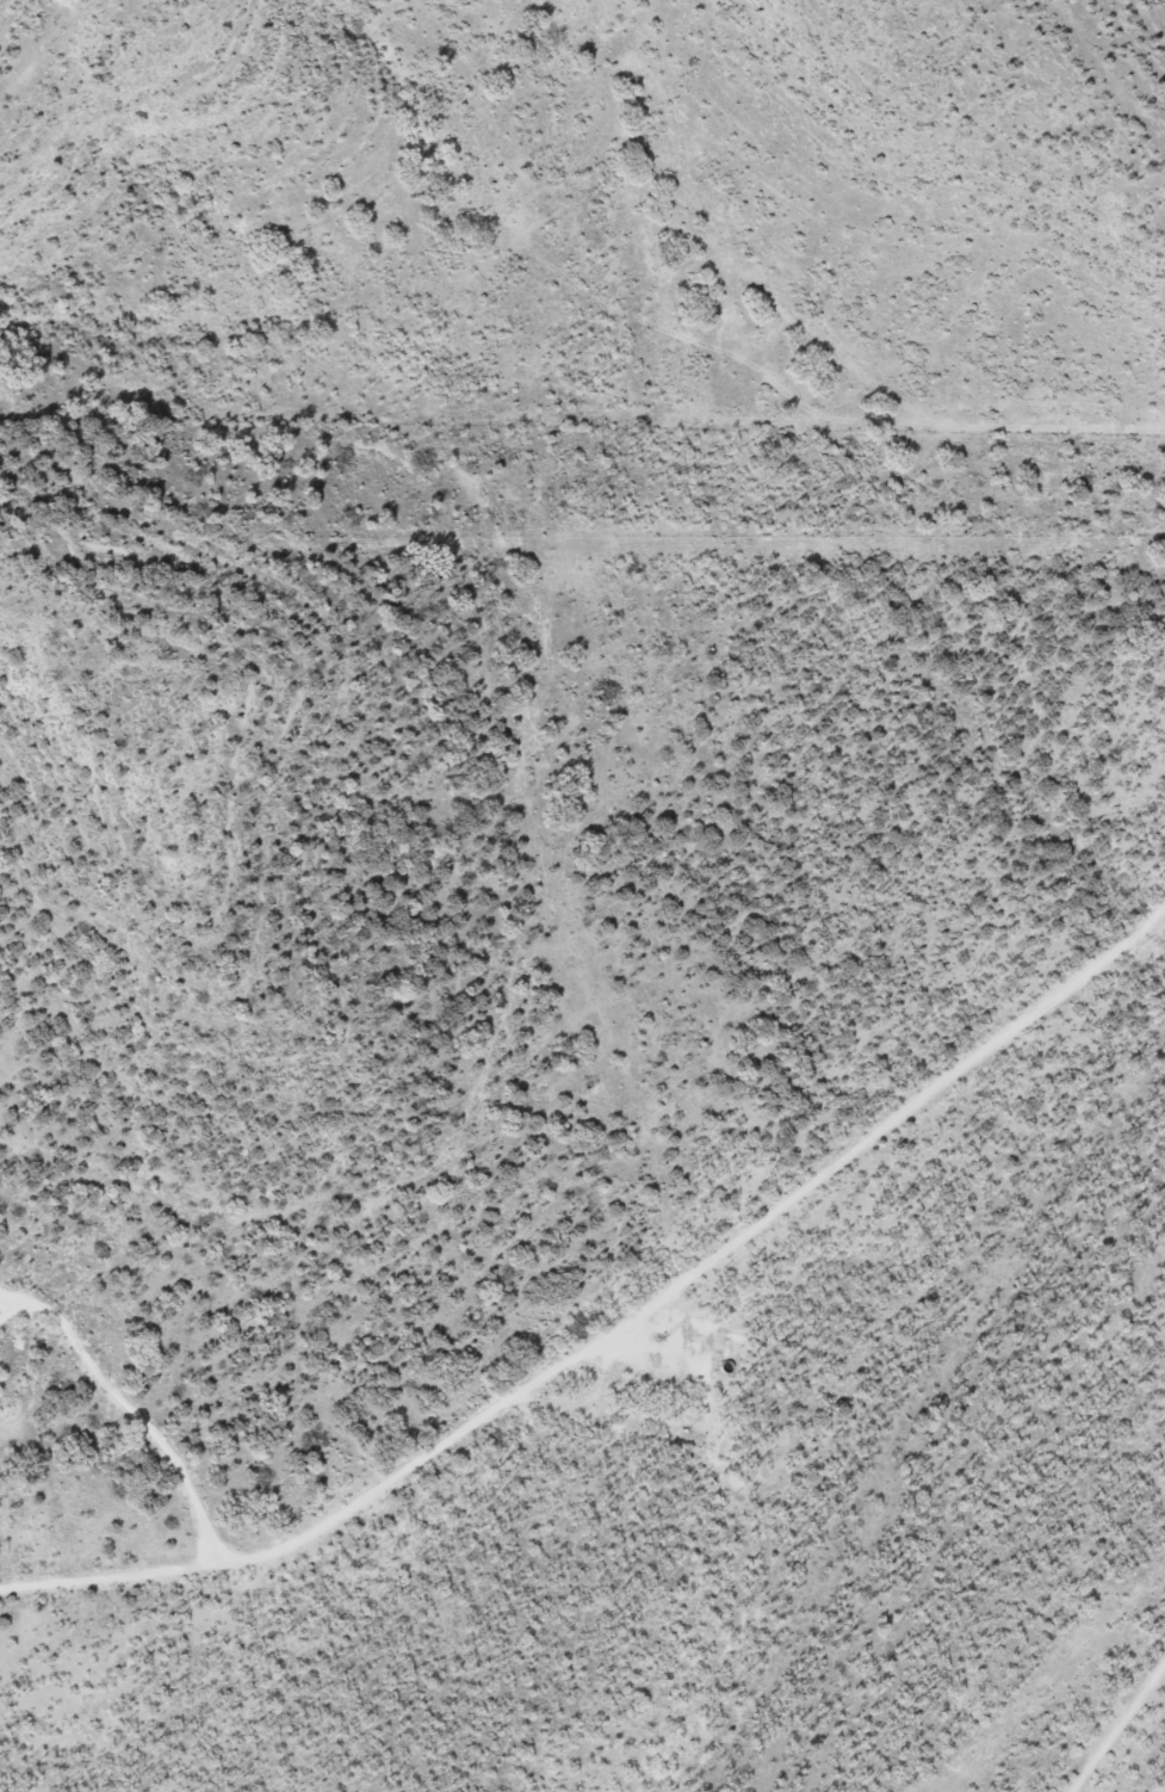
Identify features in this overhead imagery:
road: (311, 1519)

